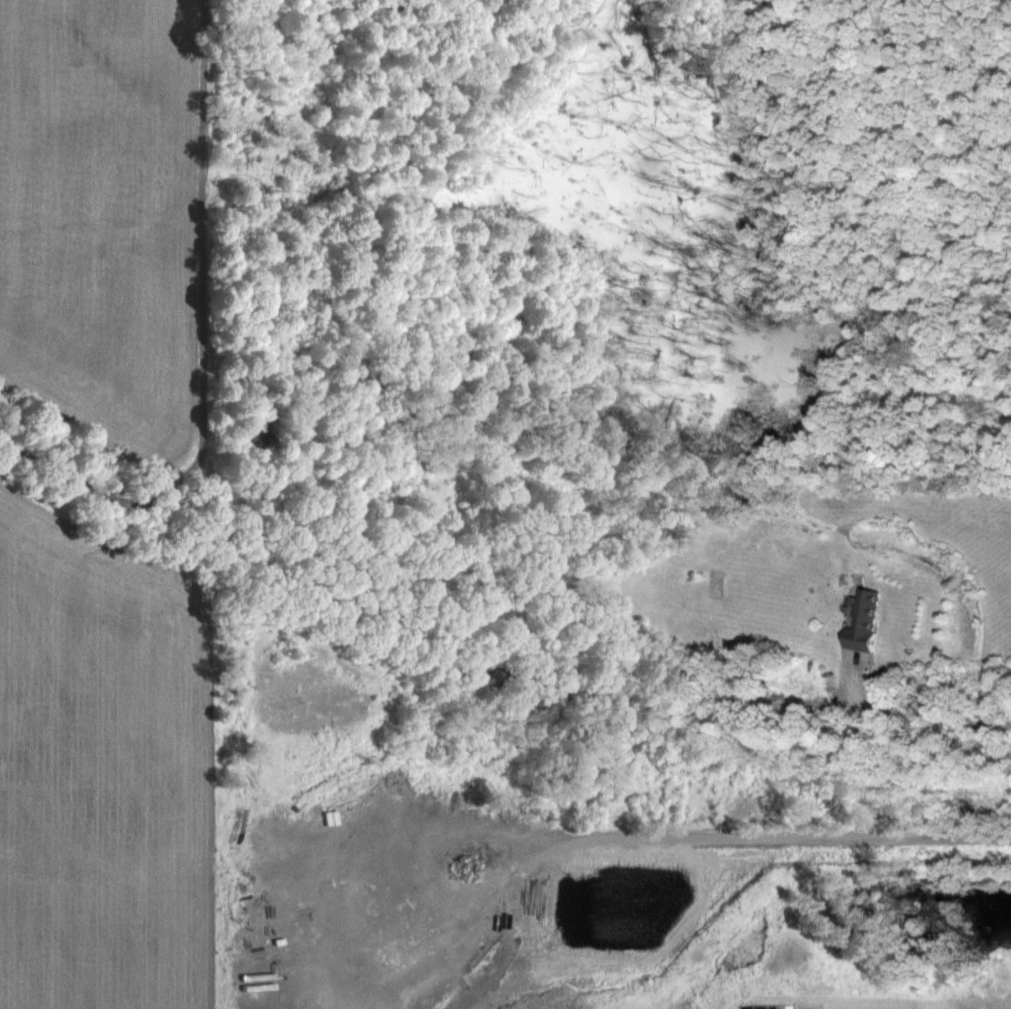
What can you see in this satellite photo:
building: (865, 620)
road: (486, 644)
road: (781, 836)
road: (335, 916)

